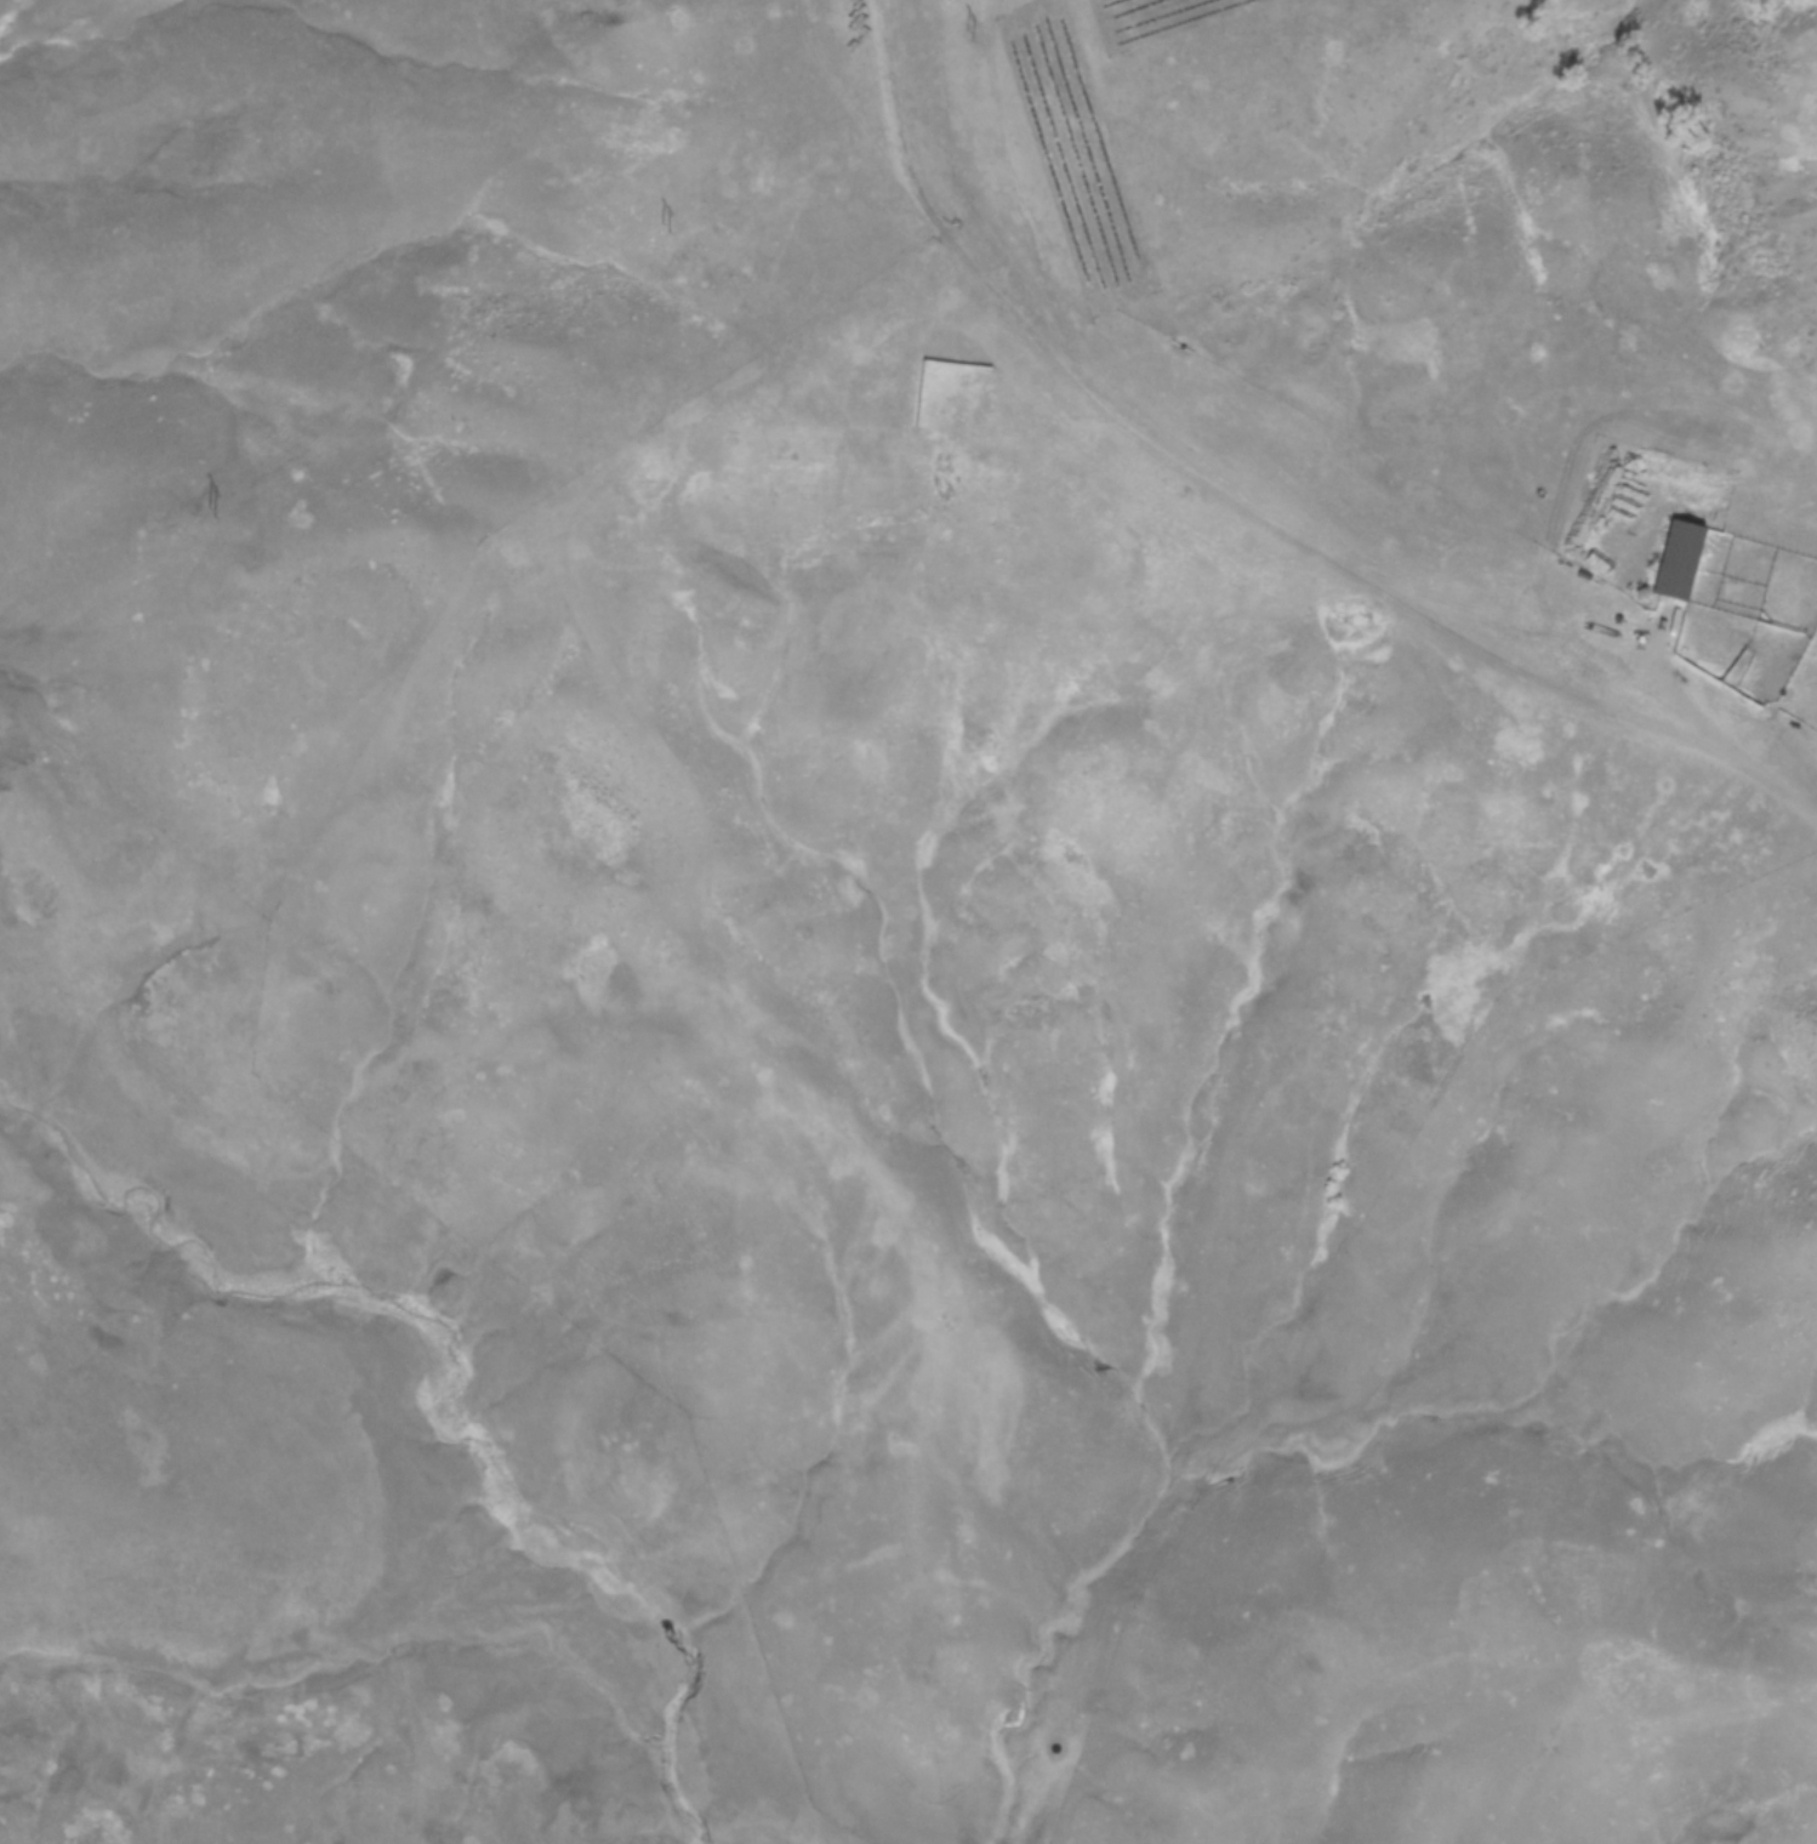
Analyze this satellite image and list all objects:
power tower: (966, 35)
power tower: (662, 227)
power tower: (206, 513)

